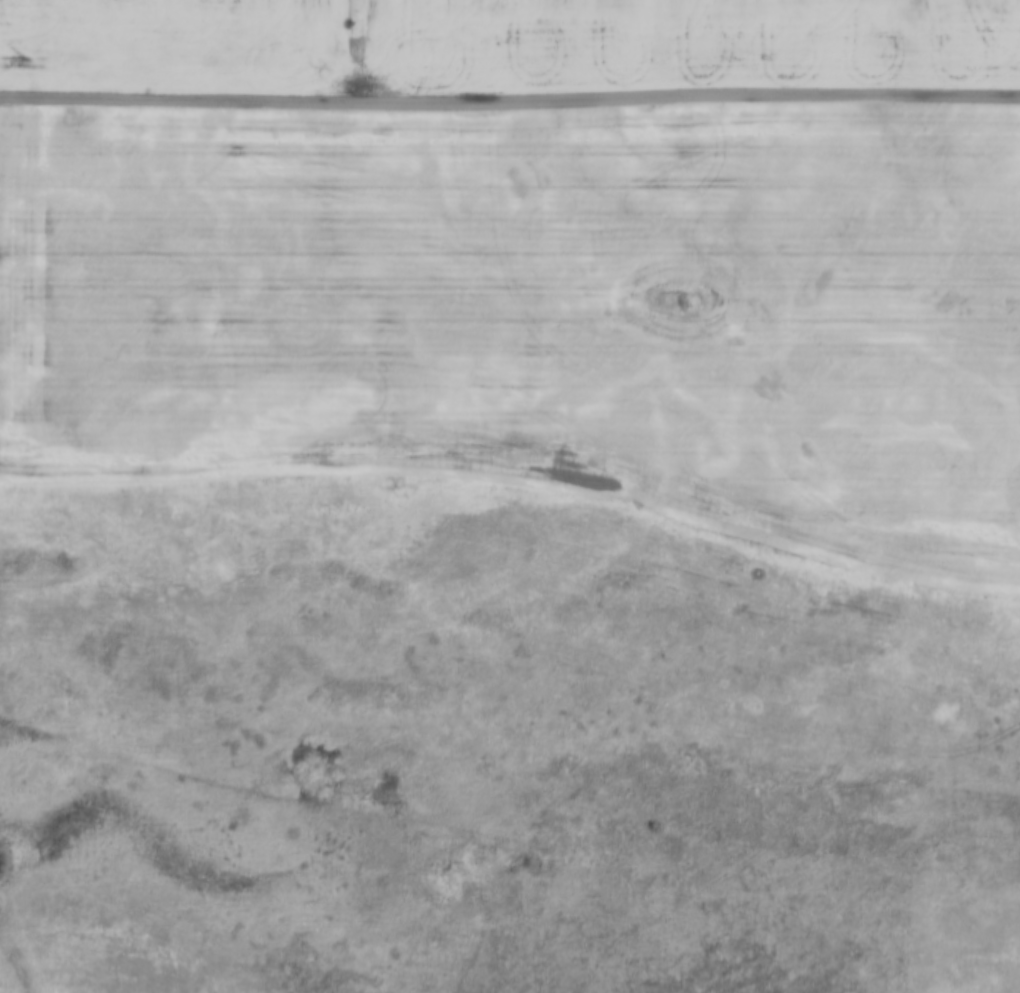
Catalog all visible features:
road: (510, 95)

